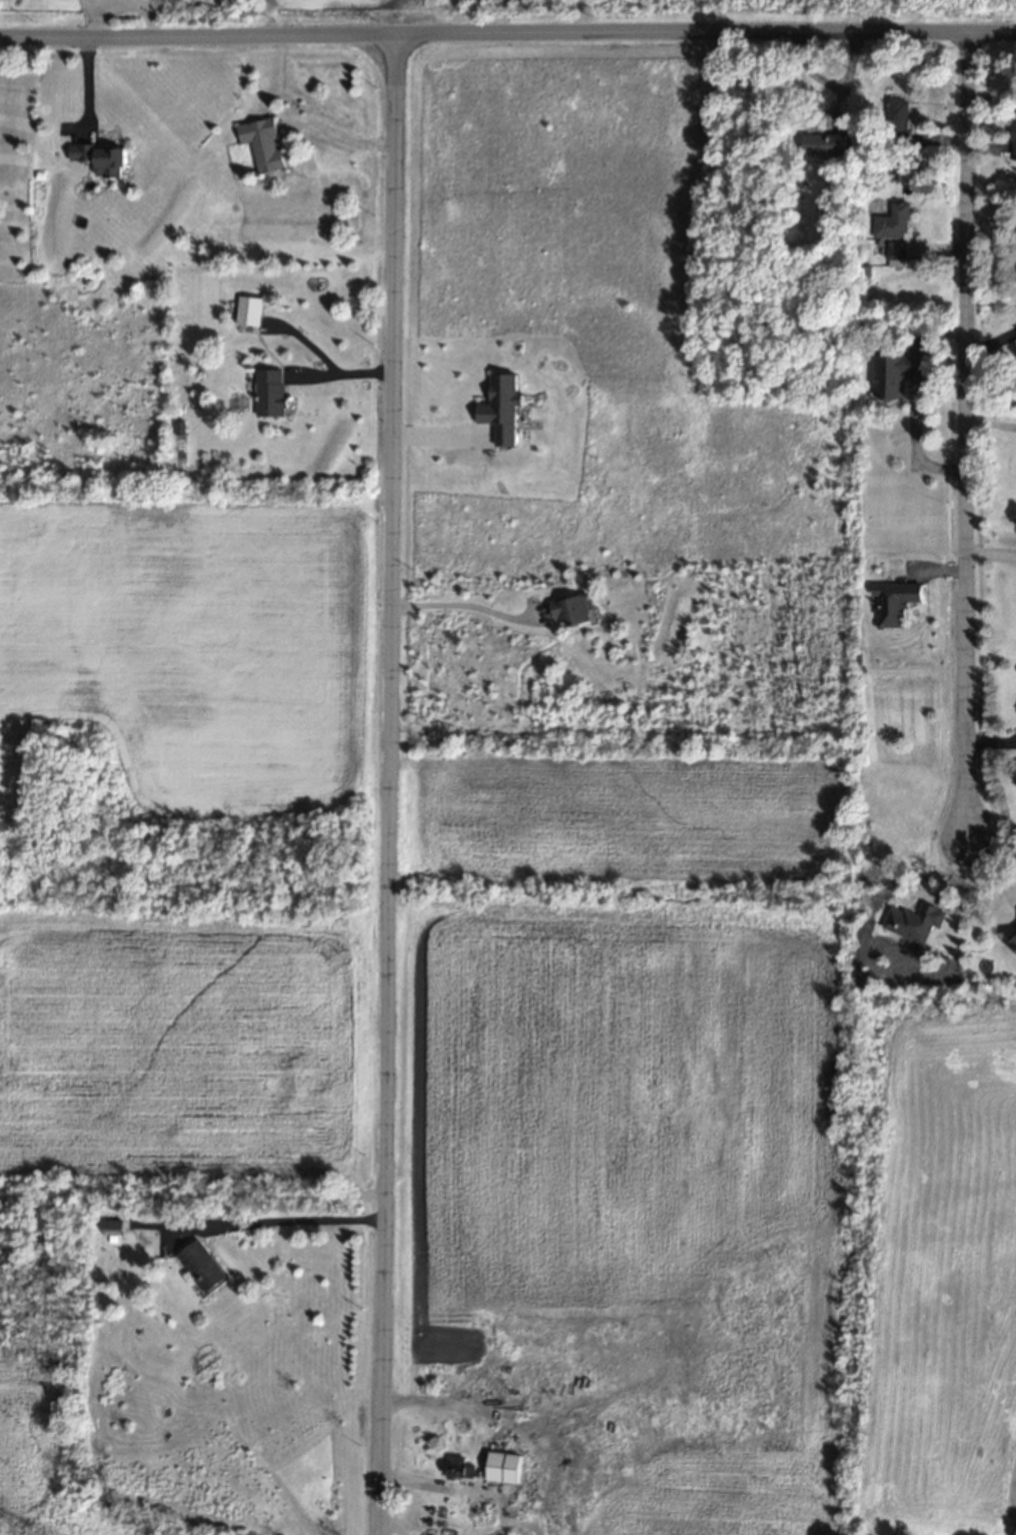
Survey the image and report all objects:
road: (131, 9)
road: (91, 20)
road: (507, 36)
road: (830, 81)
road: (842, 105)
building: (896, 109)
road: (967, 127)
road: (340, 138)
building: (1012, 140)
building: (262, 145)
building: (823, 145)
building: (99, 159)
building: (892, 223)
building: (896, 255)
building: (248, 312)
building: (893, 374)
road: (340, 377)
building: (269, 393)
building: (500, 409)
road: (968, 535)
building: (893, 603)
road: (465, 609)
building: (571, 610)
crop: (188, 647)
road: (387, 785)
building: (913, 923)
building: (1013, 942)
crop: (176, 1047)
crop: (628, 1072)
road: (285, 1226)
building: (111, 1228)
building: (201, 1267)
road: (502, 1413)
crop: (37, 1458)
building: (458, 1468)
building: (503, 1468)
road: (386, 1524)

